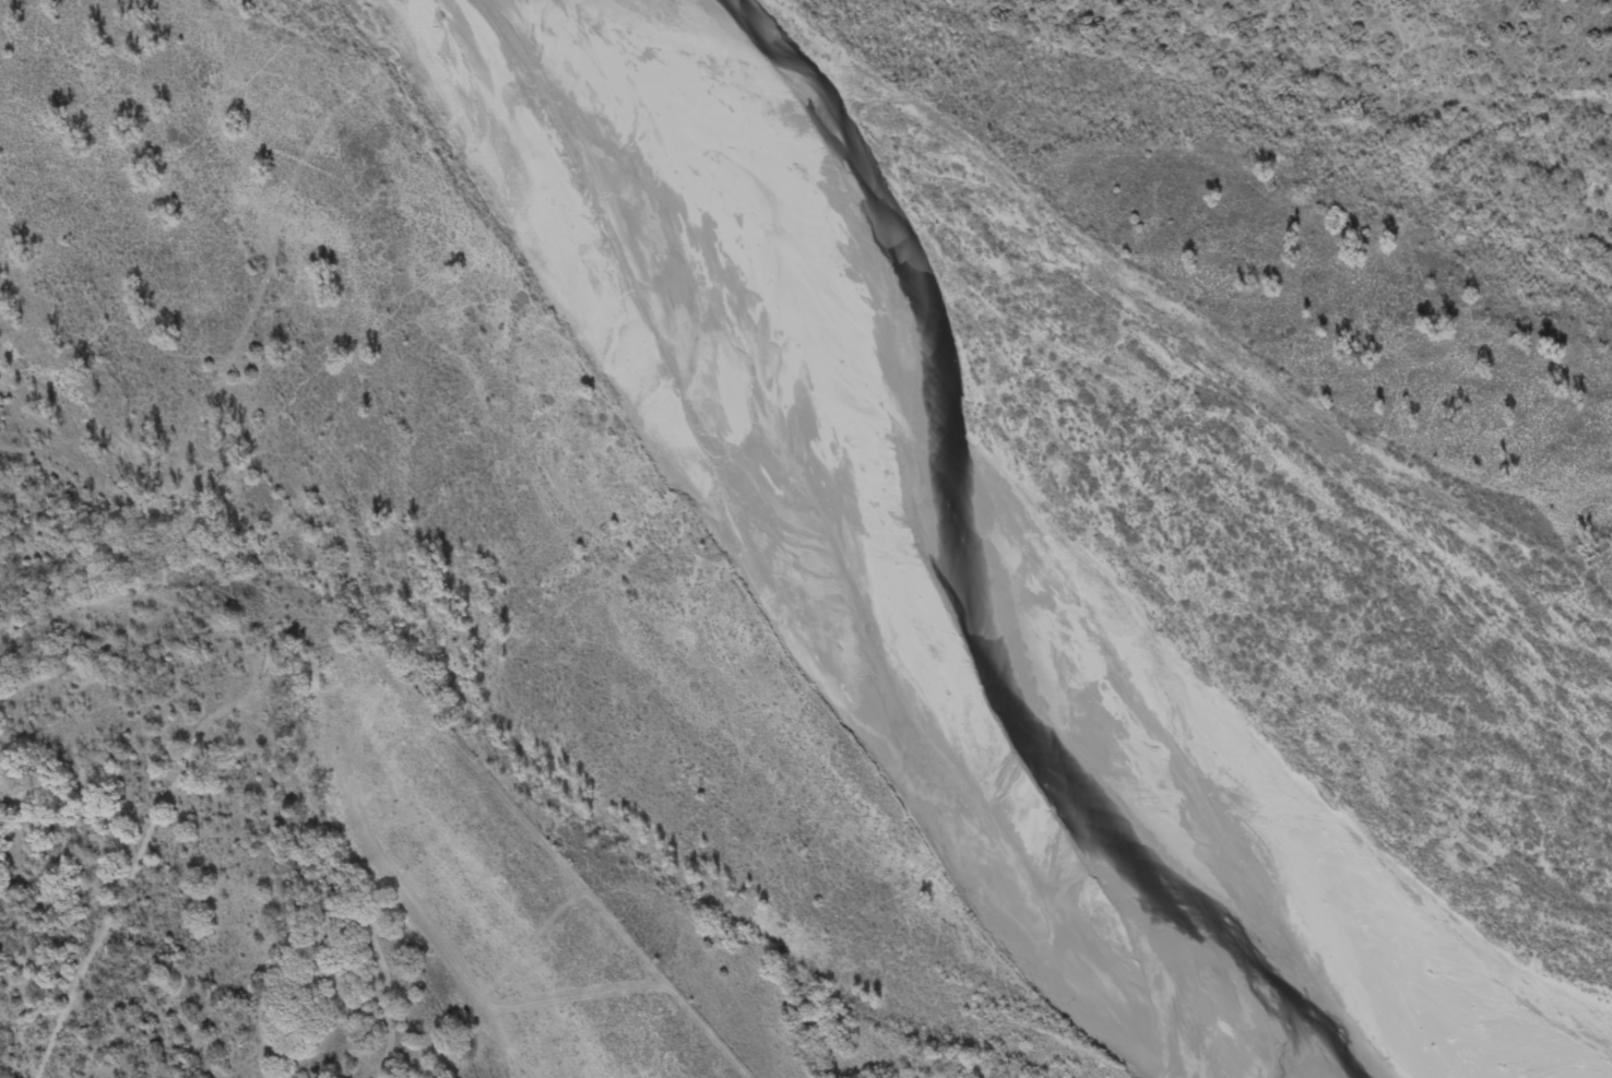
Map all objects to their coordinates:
river: (933, 601)
road: (78, 940)

